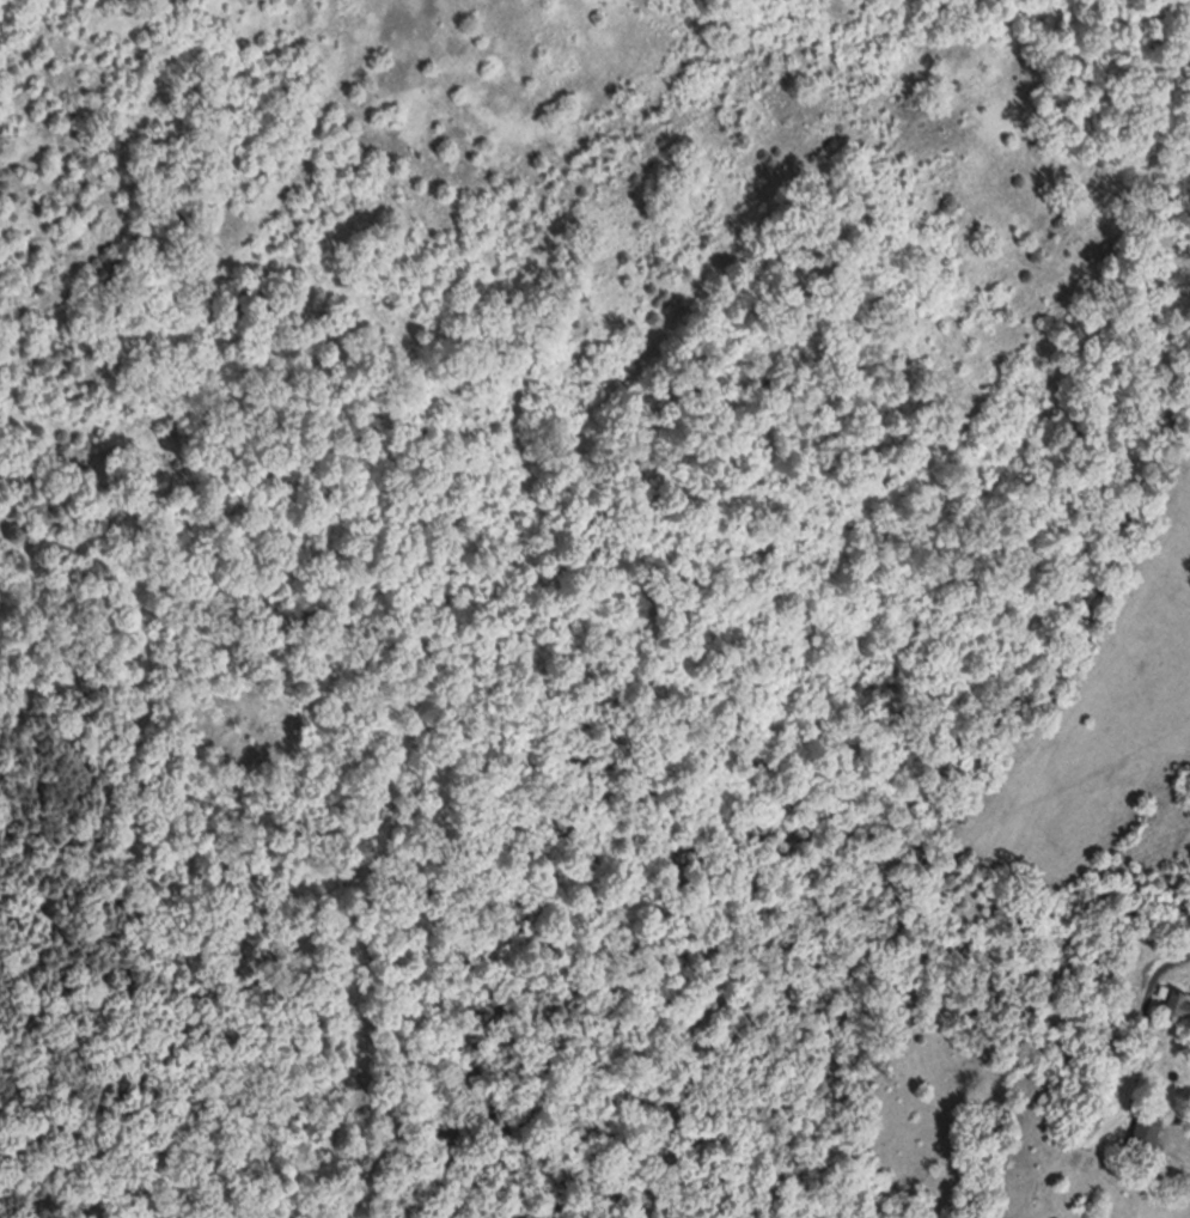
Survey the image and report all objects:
road: (1182, 962)

